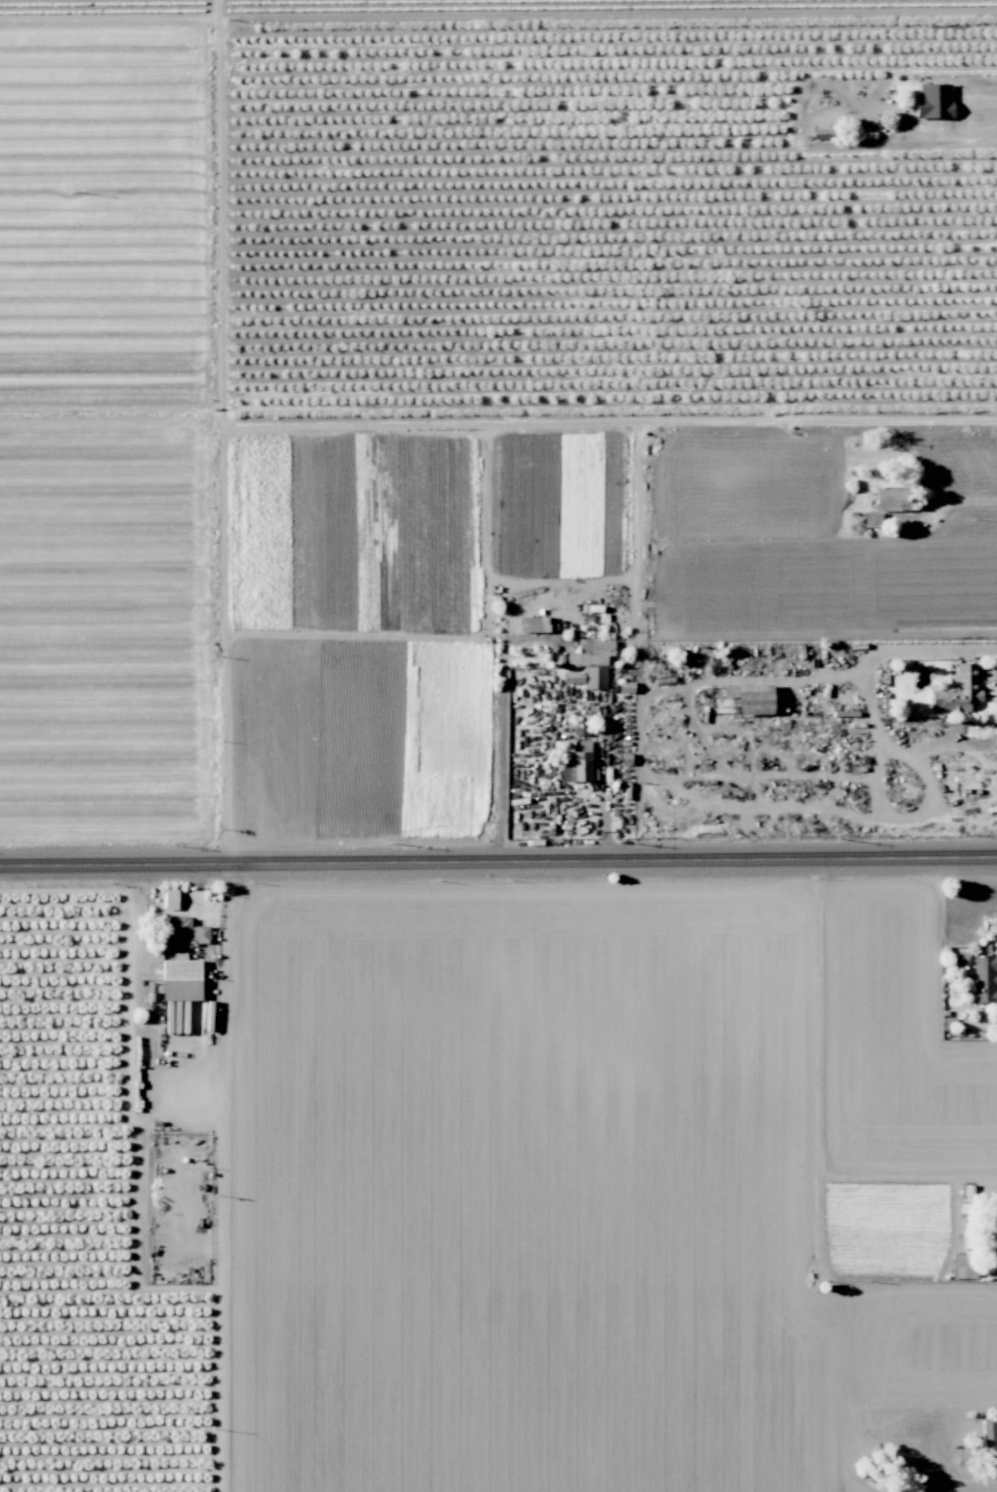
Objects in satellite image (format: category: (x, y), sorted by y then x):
road: (981, 99)
building: (932, 100)
crop: (580, 231)
road: (947, 505)
building: (881, 506)
crop: (112, 623)
building: (533, 623)
building: (589, 663)
building: (625, 686)
building: (957, 689)
building: (750, 698)
road: (502, 721)
building: (579, 726)
building: (576, 760)
road: (607, 783)
road: (498, 860)
building: (170, 898)
building: (182, 929)
building: (960, 957)
building: (180, 978)
building: (984, 978)
crop: (585, 1072)
crop: (112, 1185)
building: (996, 1208)
building: (963, 1264)
crop: (614, 1384)
building: (988, 1436)

